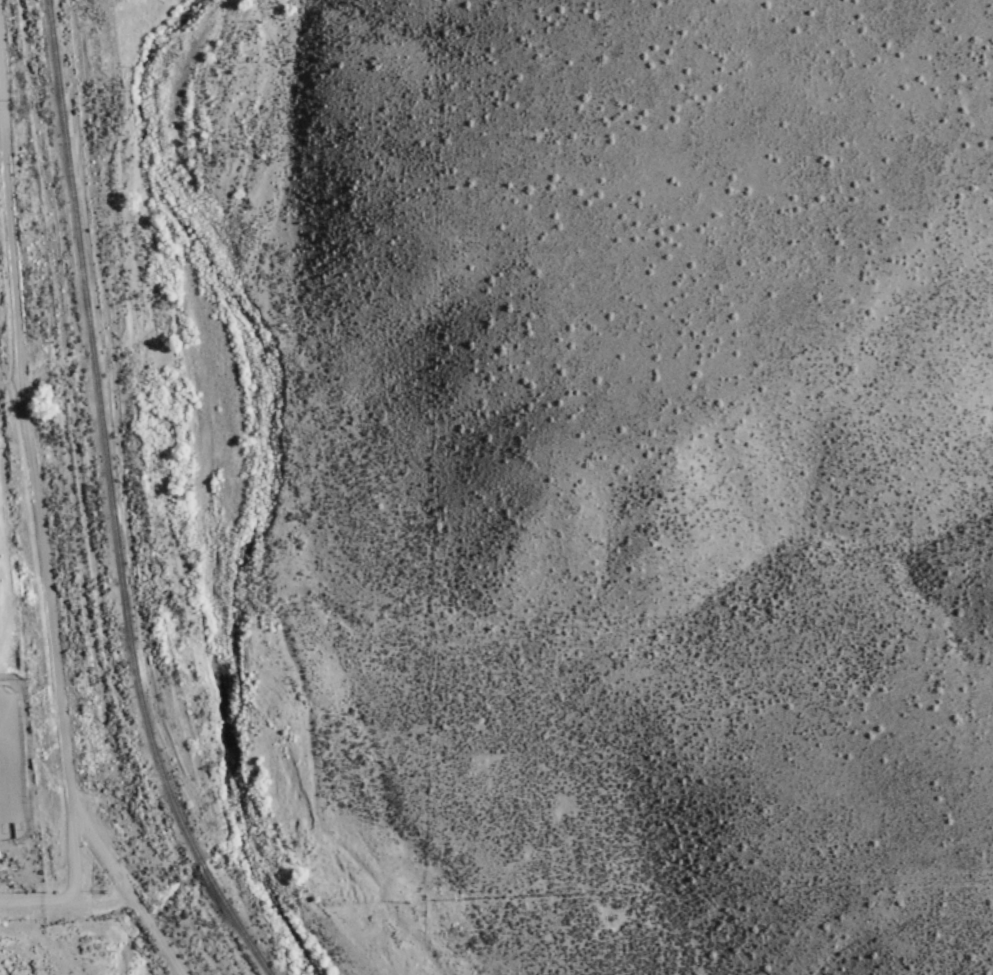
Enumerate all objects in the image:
railway: (110, 502)
road: (41, 530)
crop: (94, 587)
crop: (446, 791)
road: (66, 895)
road: (213, 960)

